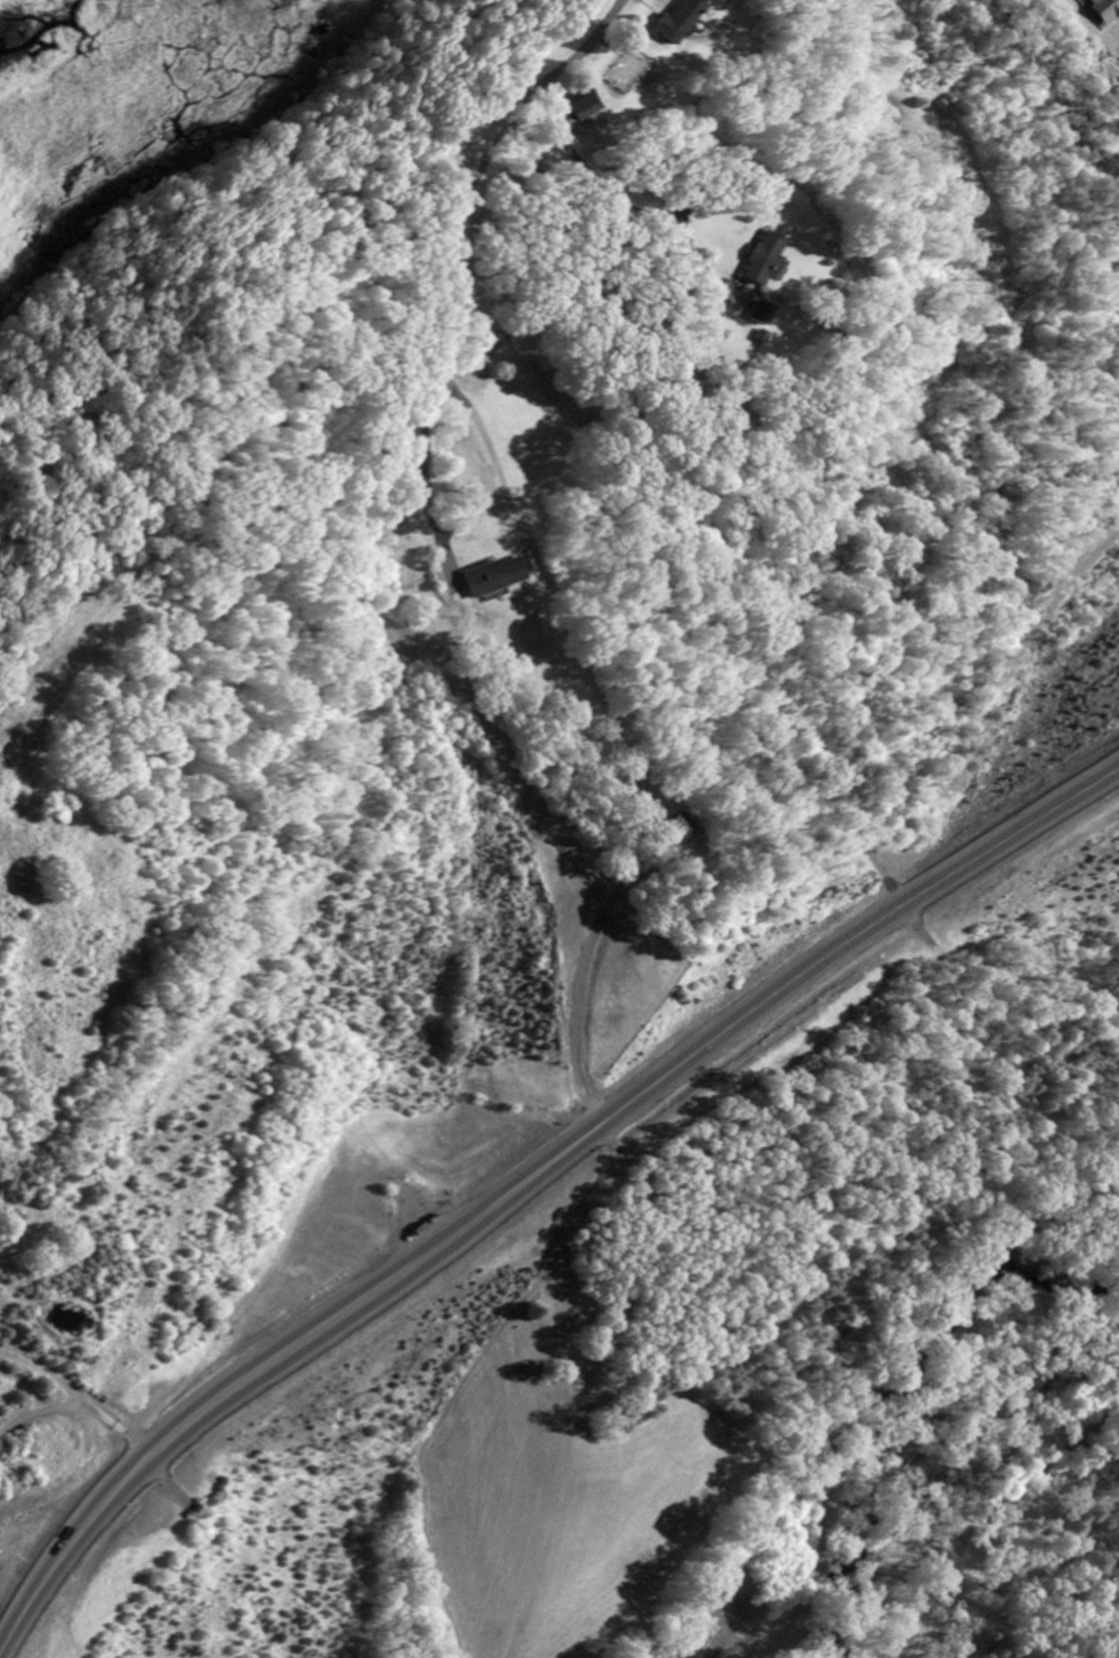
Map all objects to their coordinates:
building: (1101, 10)
building: (677, 21)
building: (587, 105)
road: (456, 247)
building: (766, 260)
building: (762, 314)
building: (496, 578)
road: (538, 607)
building: (687, 830)
road: (534, 1172)

